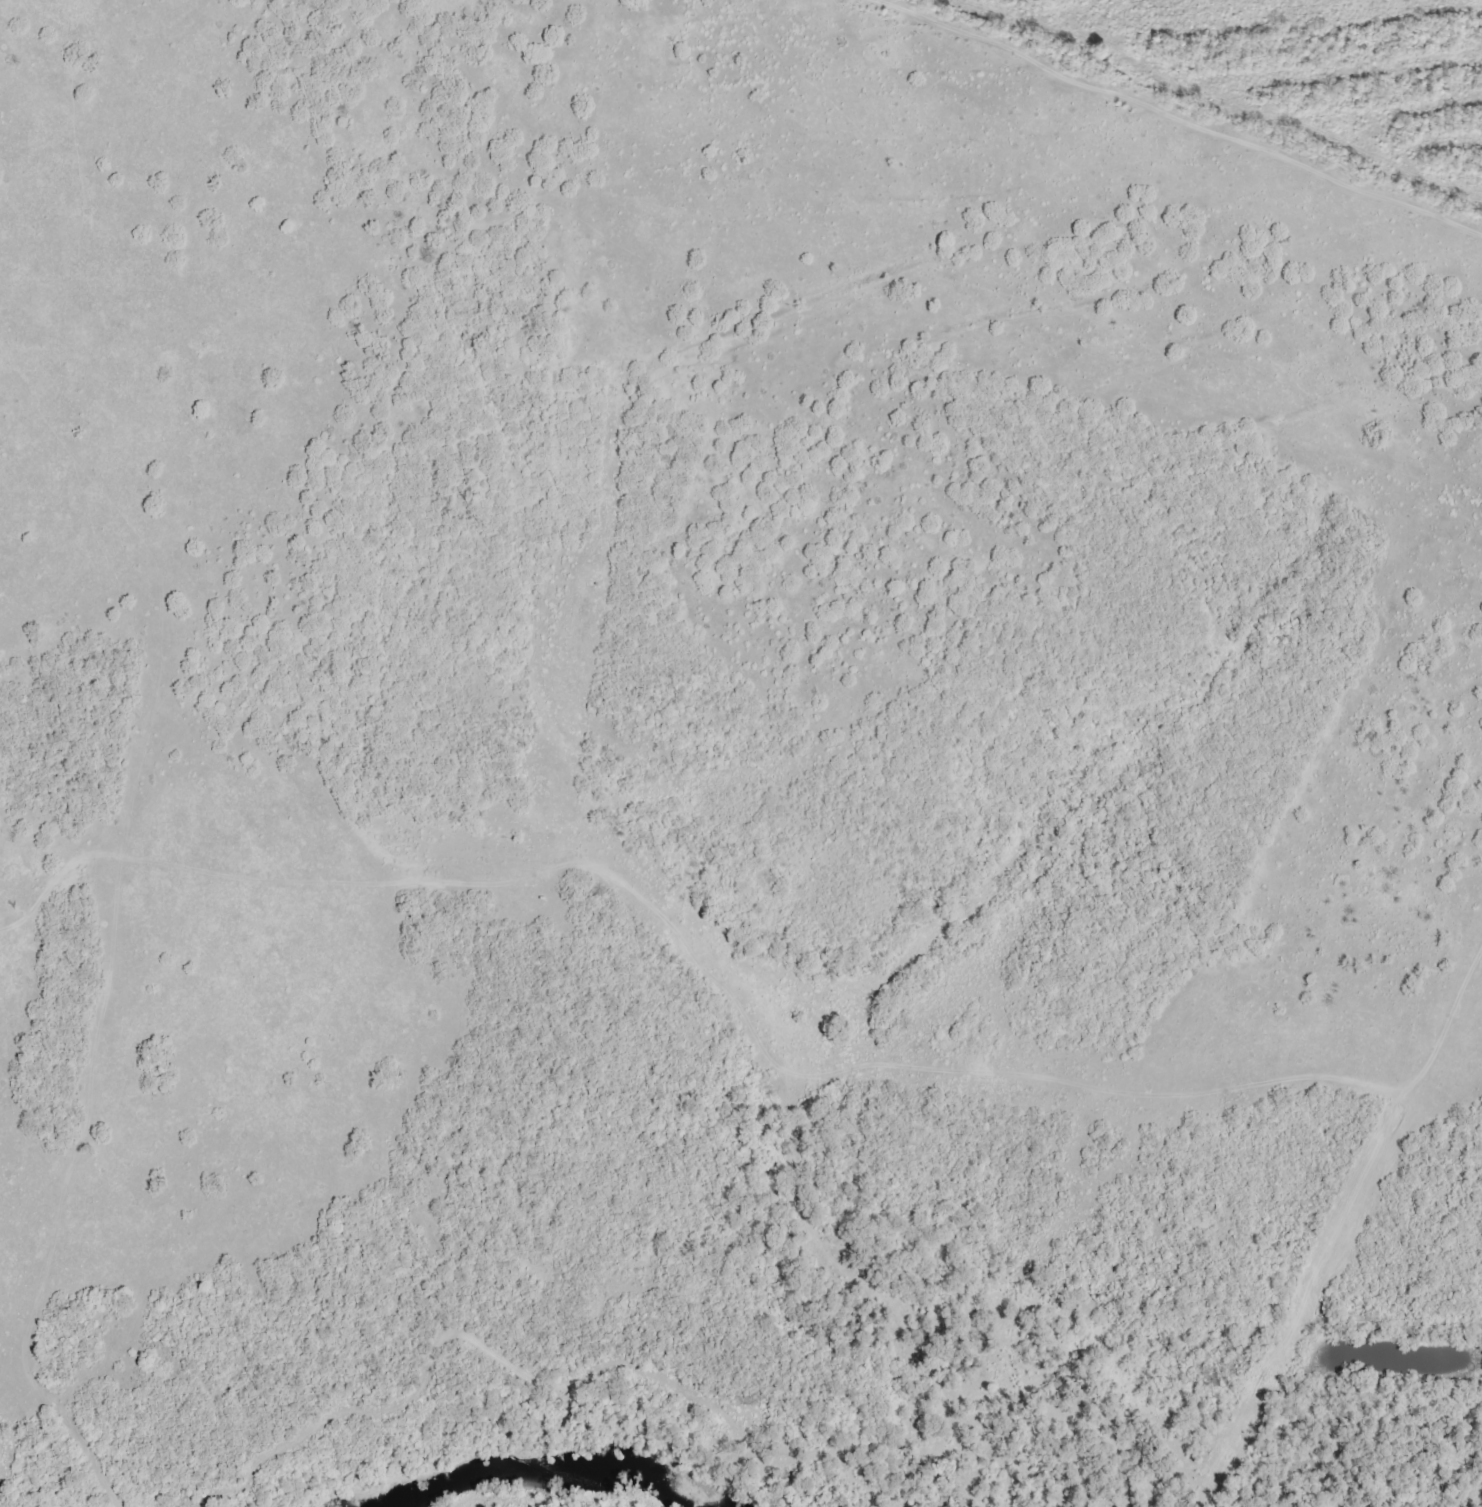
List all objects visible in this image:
river: (540, 1469)

